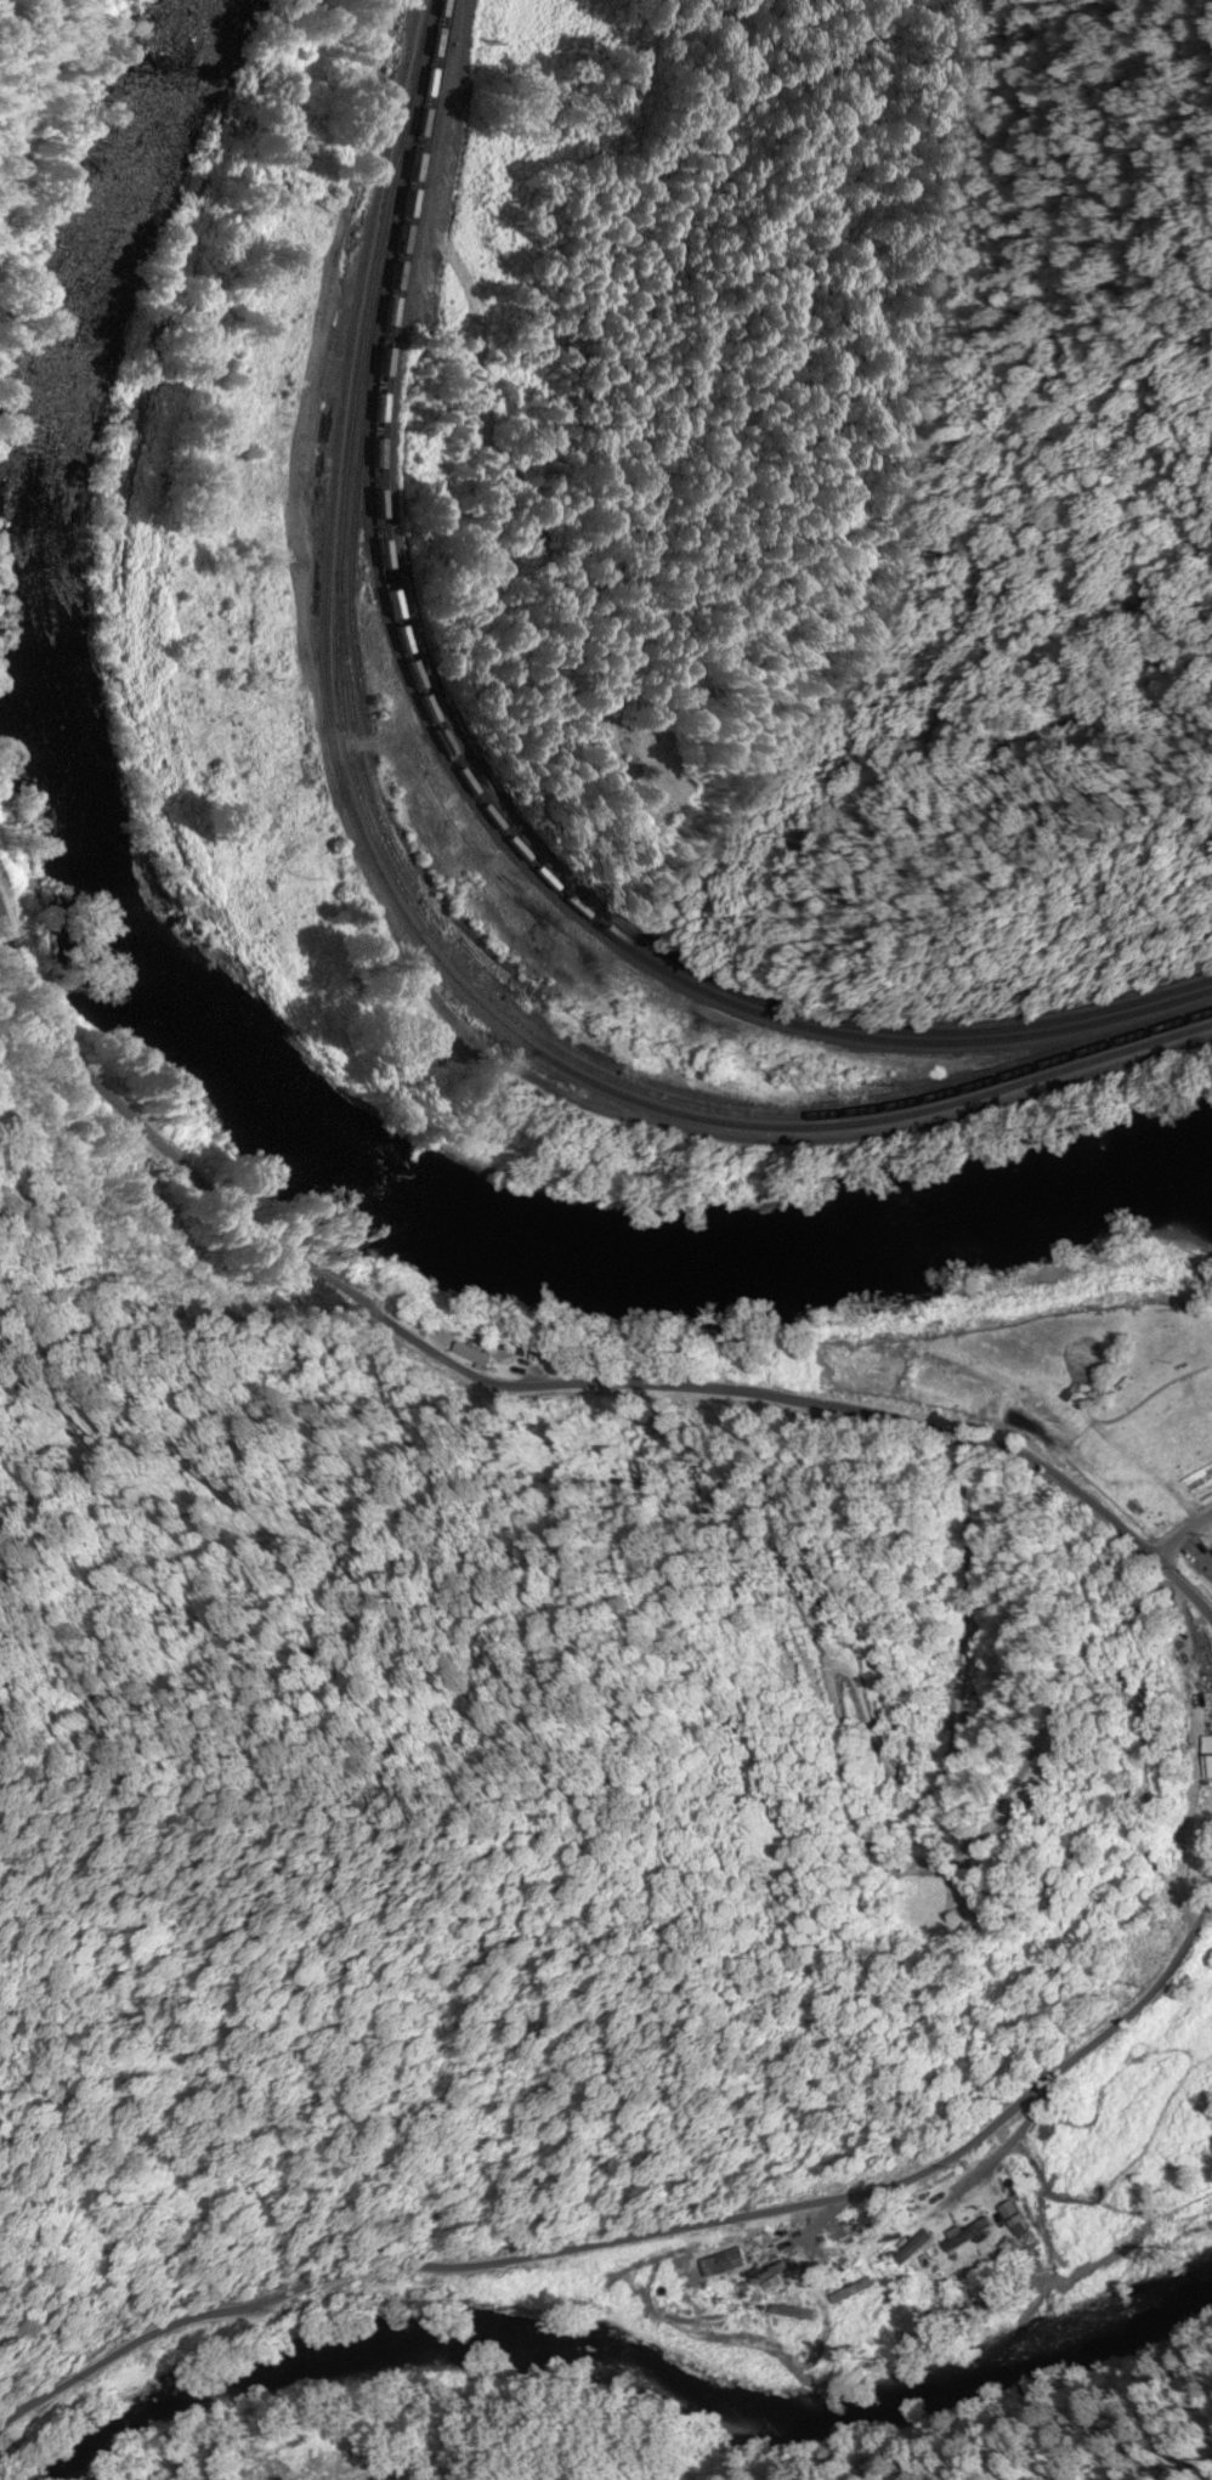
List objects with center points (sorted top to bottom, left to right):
road: (9, 18)
road: (319, 335)
railway: (482, 789)
railway: (474, 798)
railway: (400, 889)
railway: (391, 898)
river: (186, 1038)
railway: (618, 1068)
river: (1179, 1199)
building: (472, 1355)
road: (567, 1388)
road: (1183, 1545)
building: (1208, 1759)
building: (1048, 2134)
road: (651, 2235)
building: (969, 2237)
building: (769, 2275)
building: (855, 2292)
river: (632, 2374)

